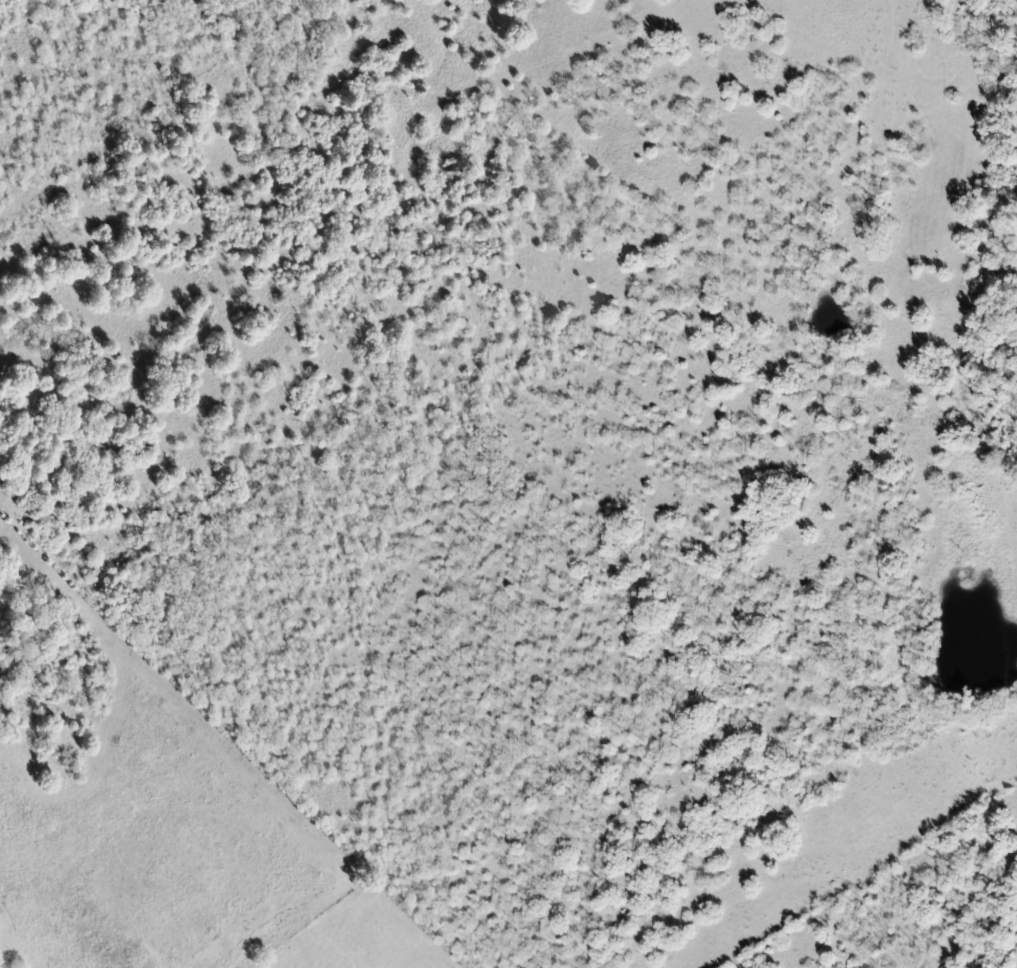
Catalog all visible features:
road: (365, 366)

